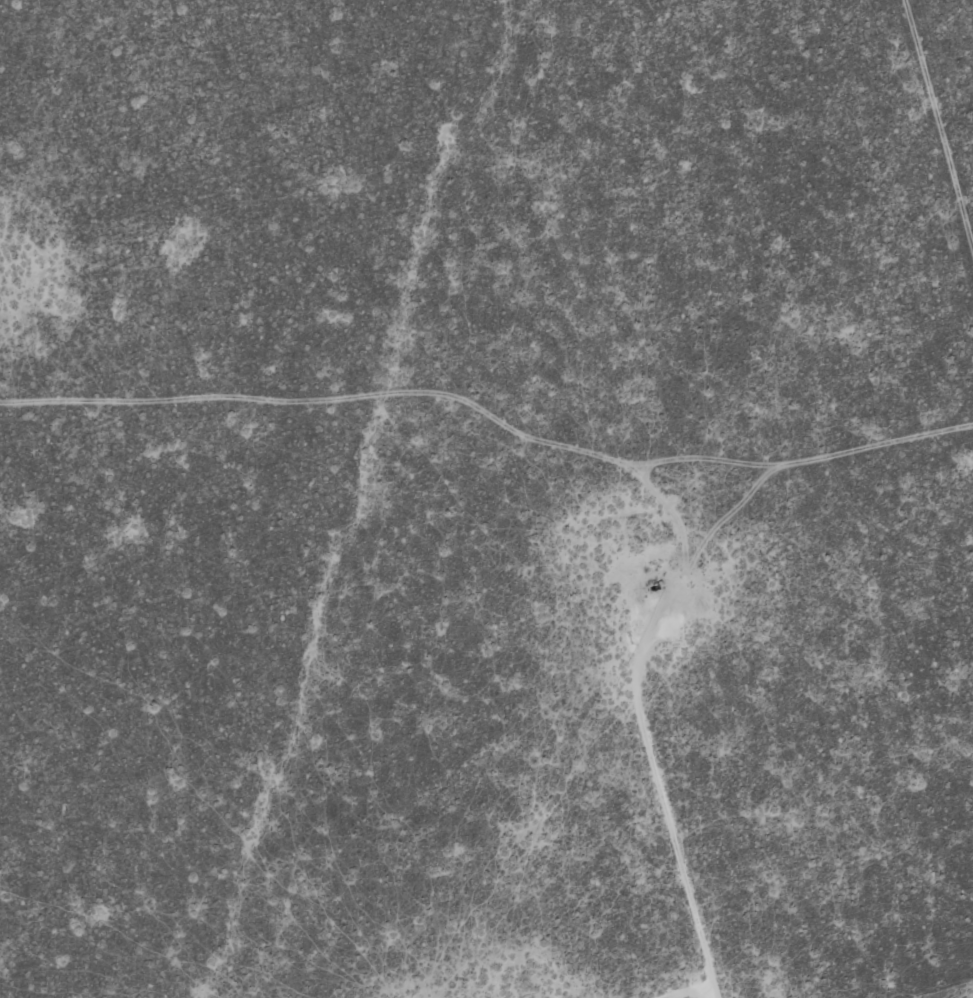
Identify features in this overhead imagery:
road: (707, 818)
road: (678, 982)

